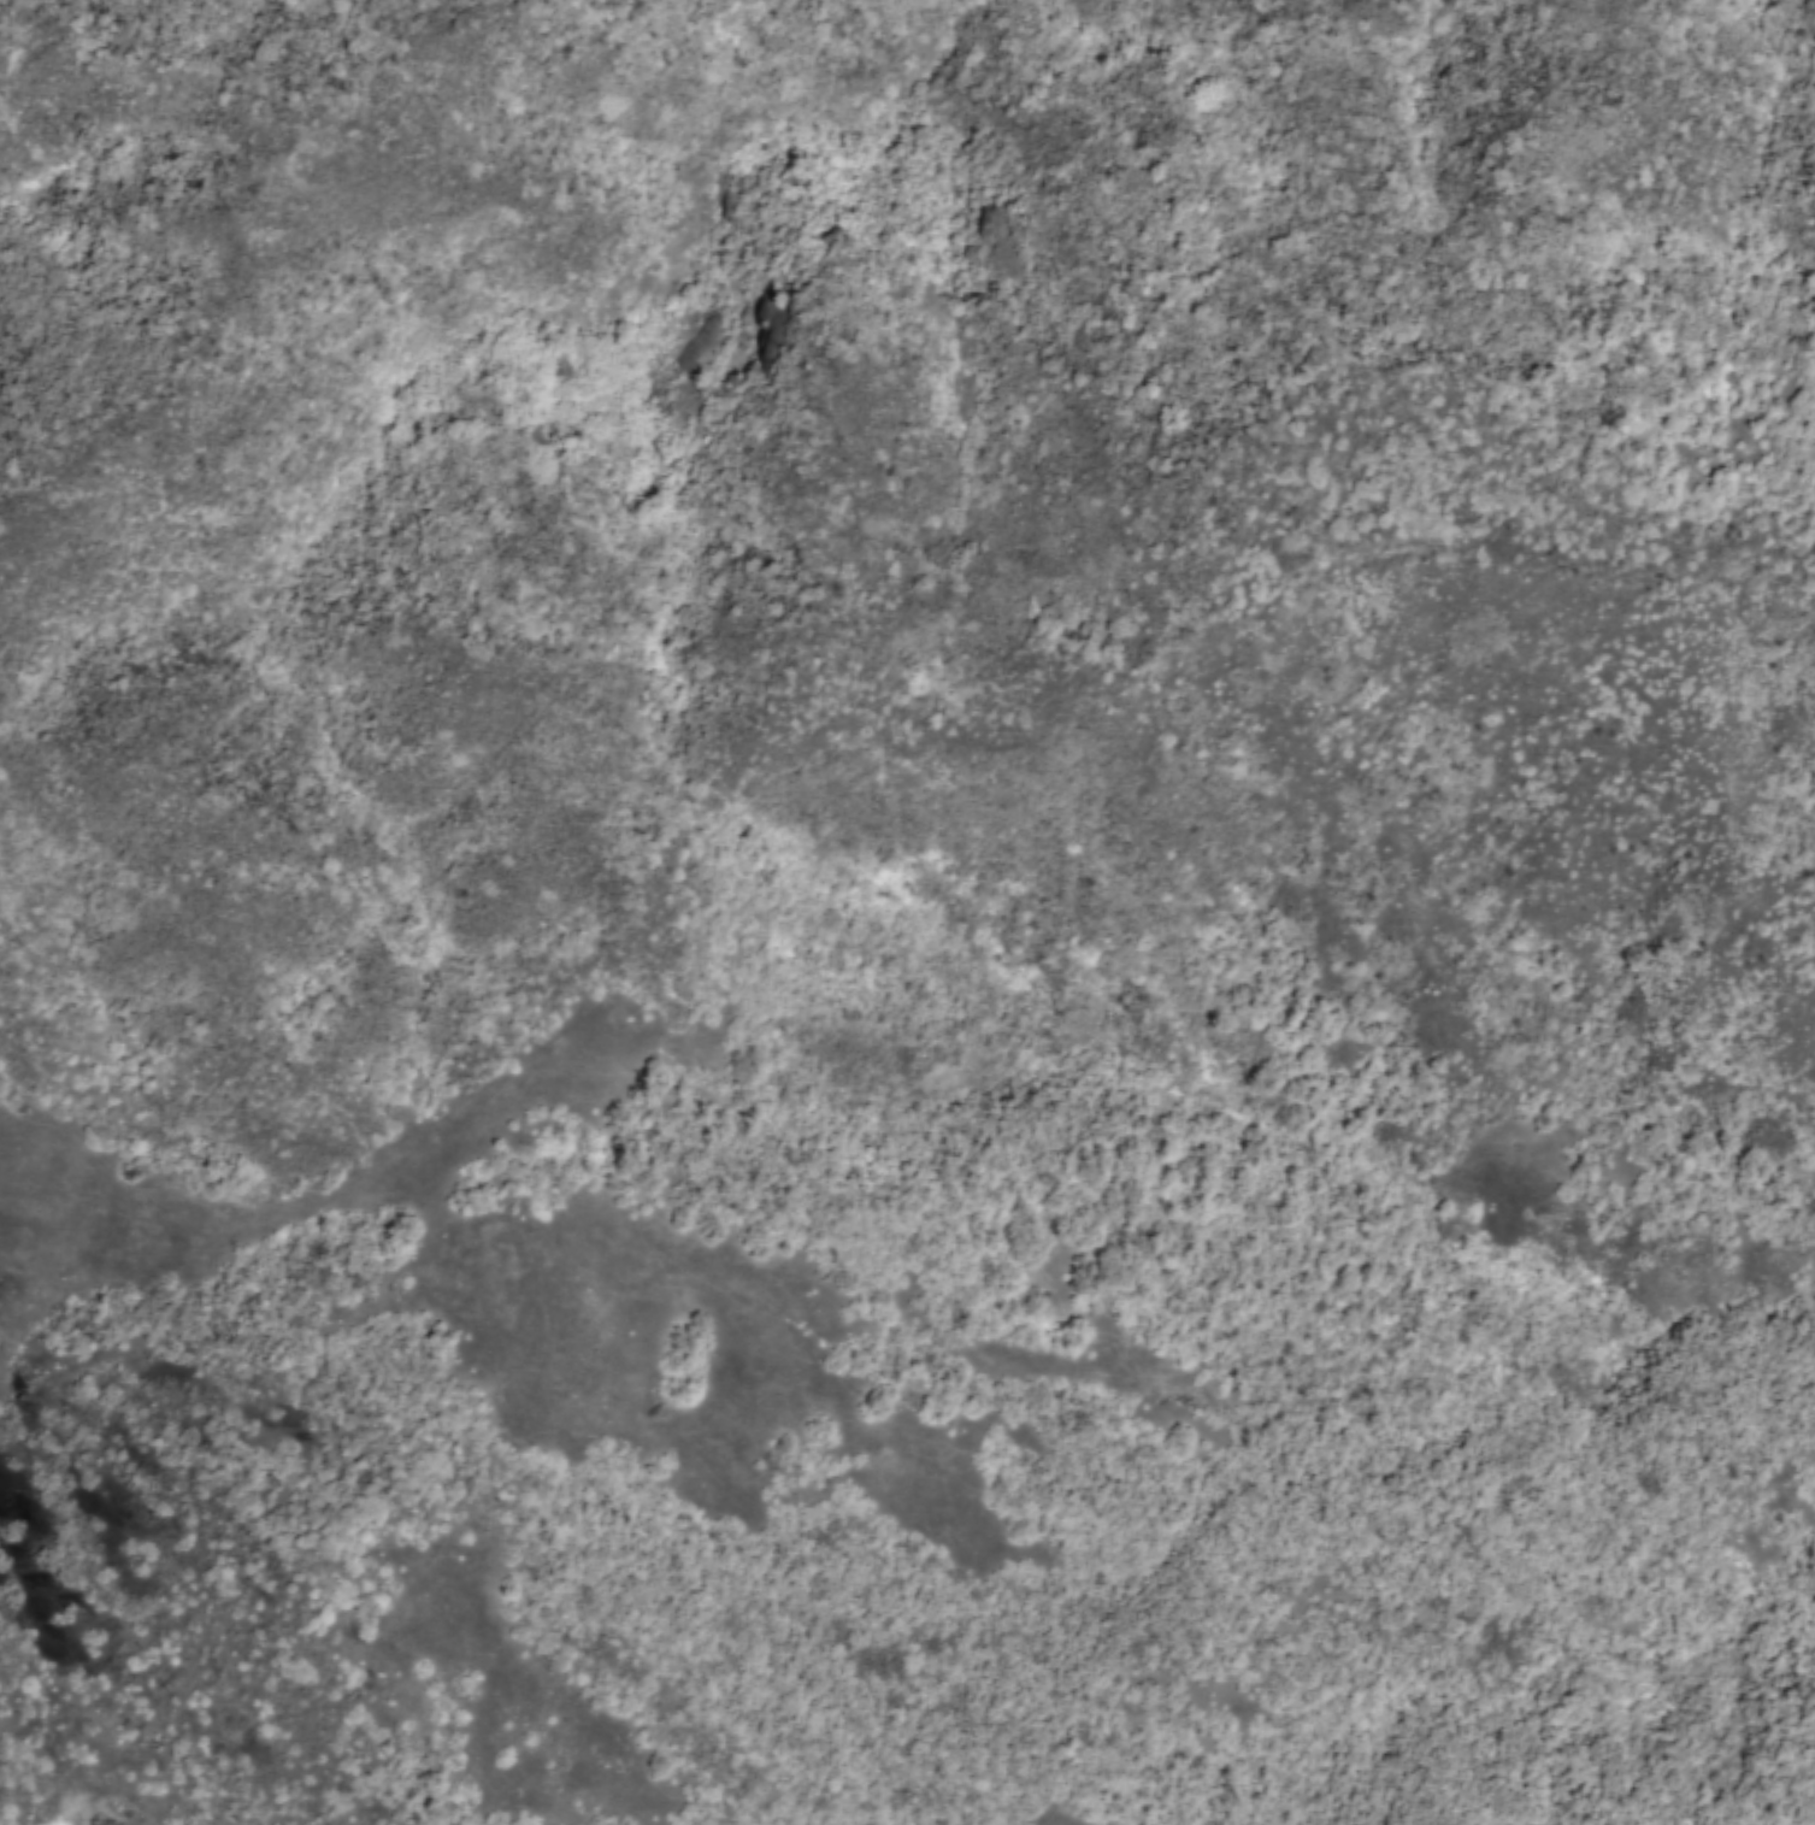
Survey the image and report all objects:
road: (40, 1591)

